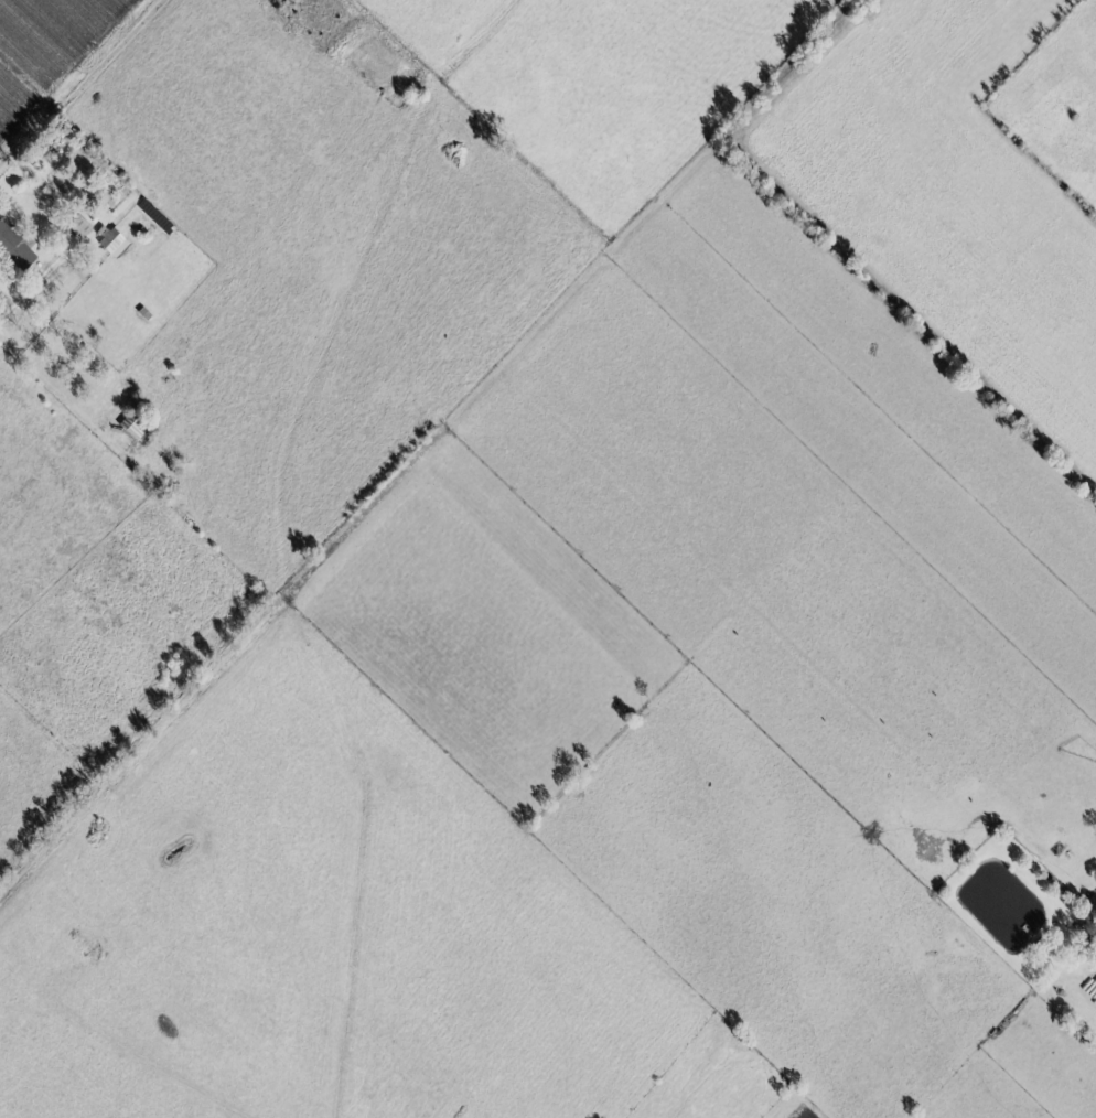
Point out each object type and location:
building: (77, 228)
building: (110, 244)
building: (14, 249)
road: (34, 289)
road: (141, 1049)

